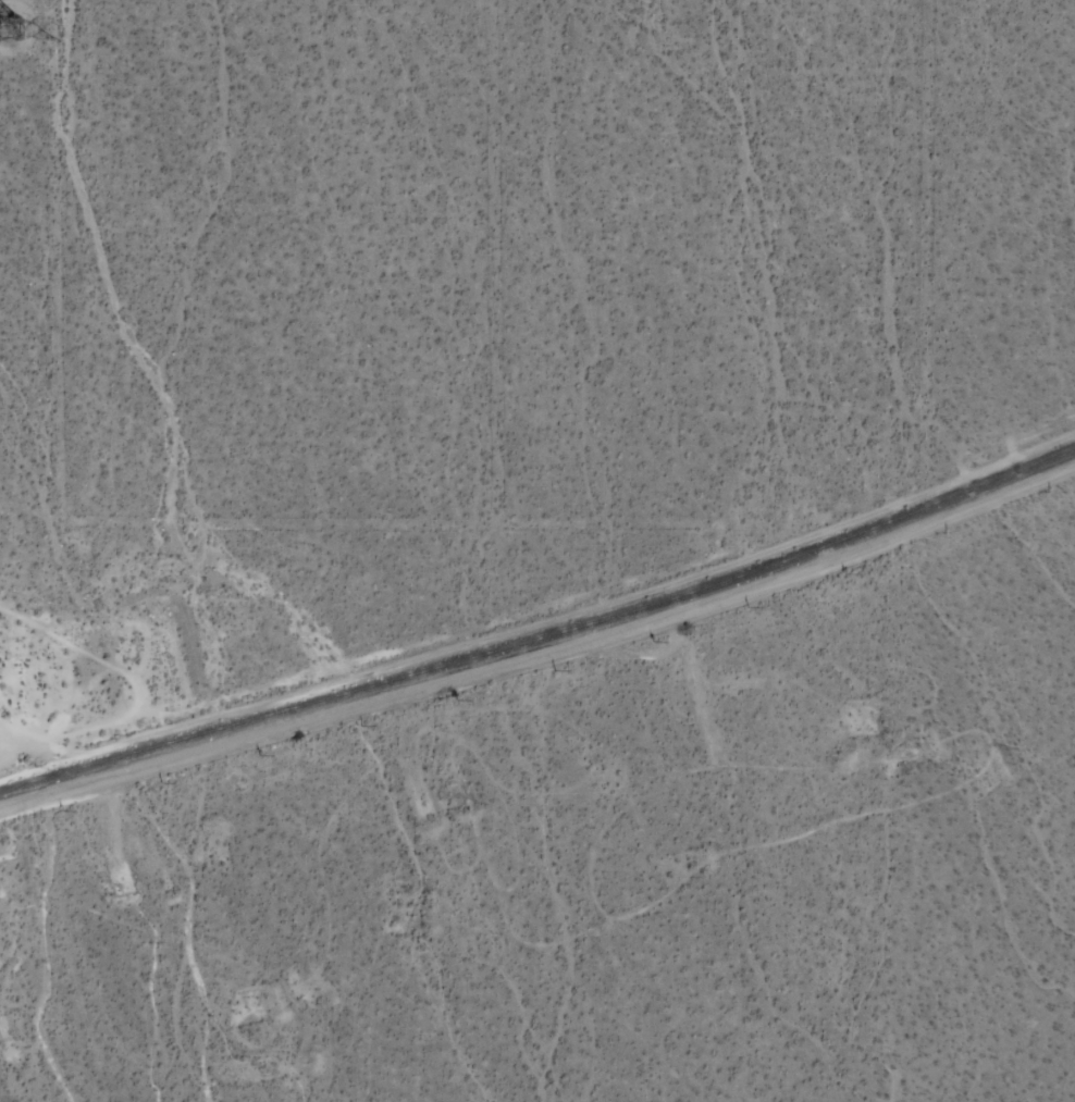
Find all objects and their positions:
power tower: (20, 26)
railway: (543, 635)
road: (541, 652)

